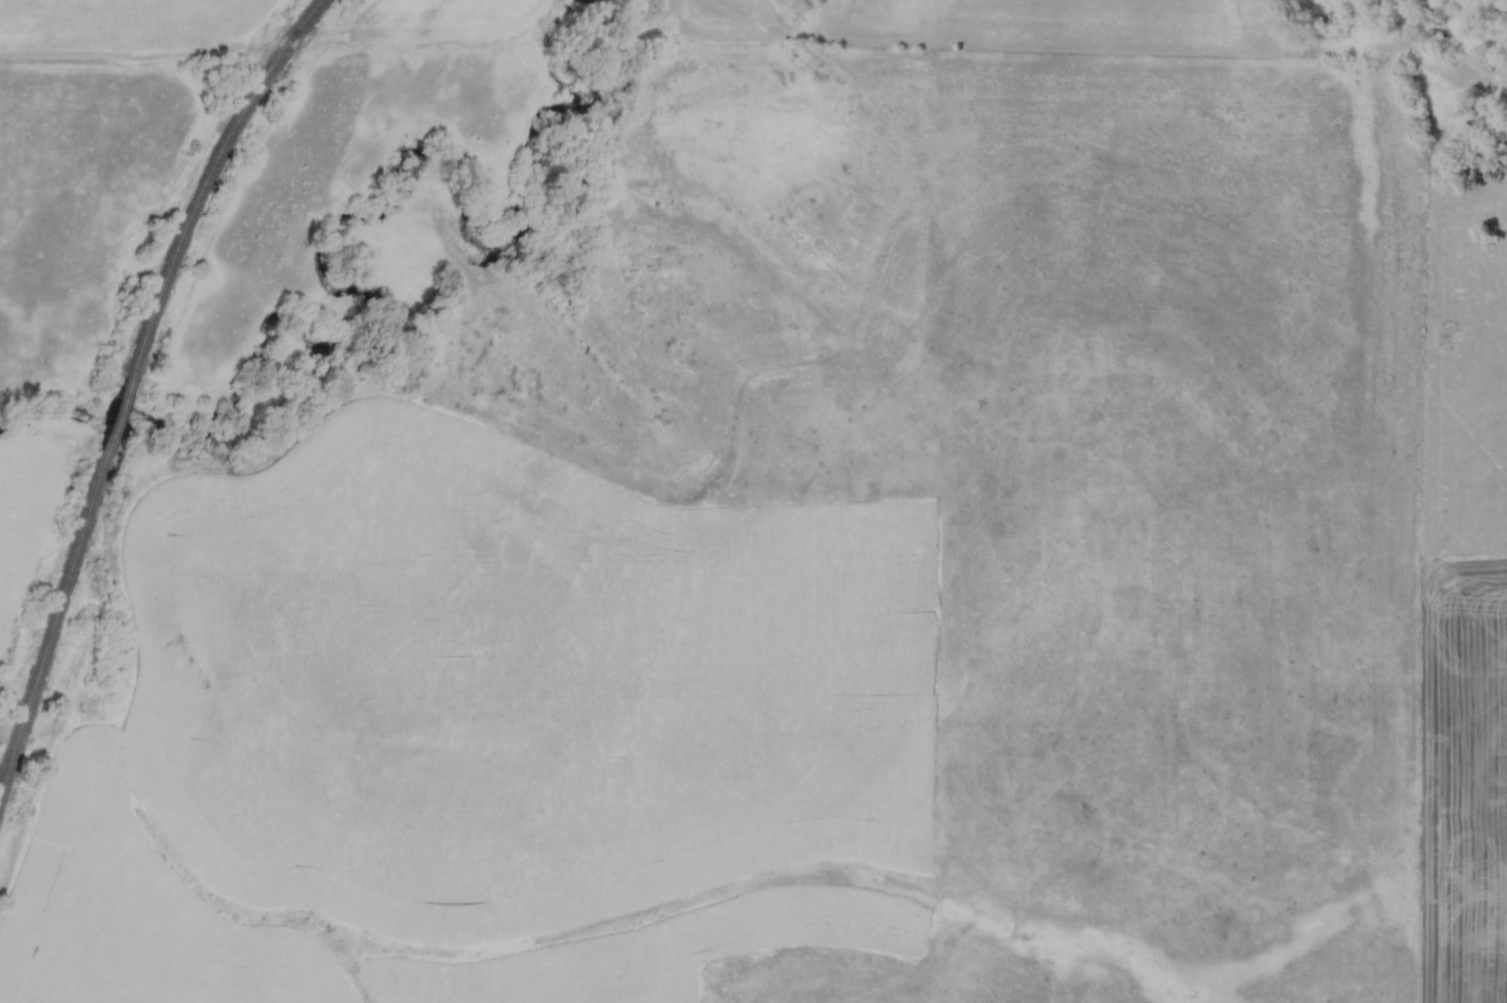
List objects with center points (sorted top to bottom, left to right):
railway: (127, 381)

